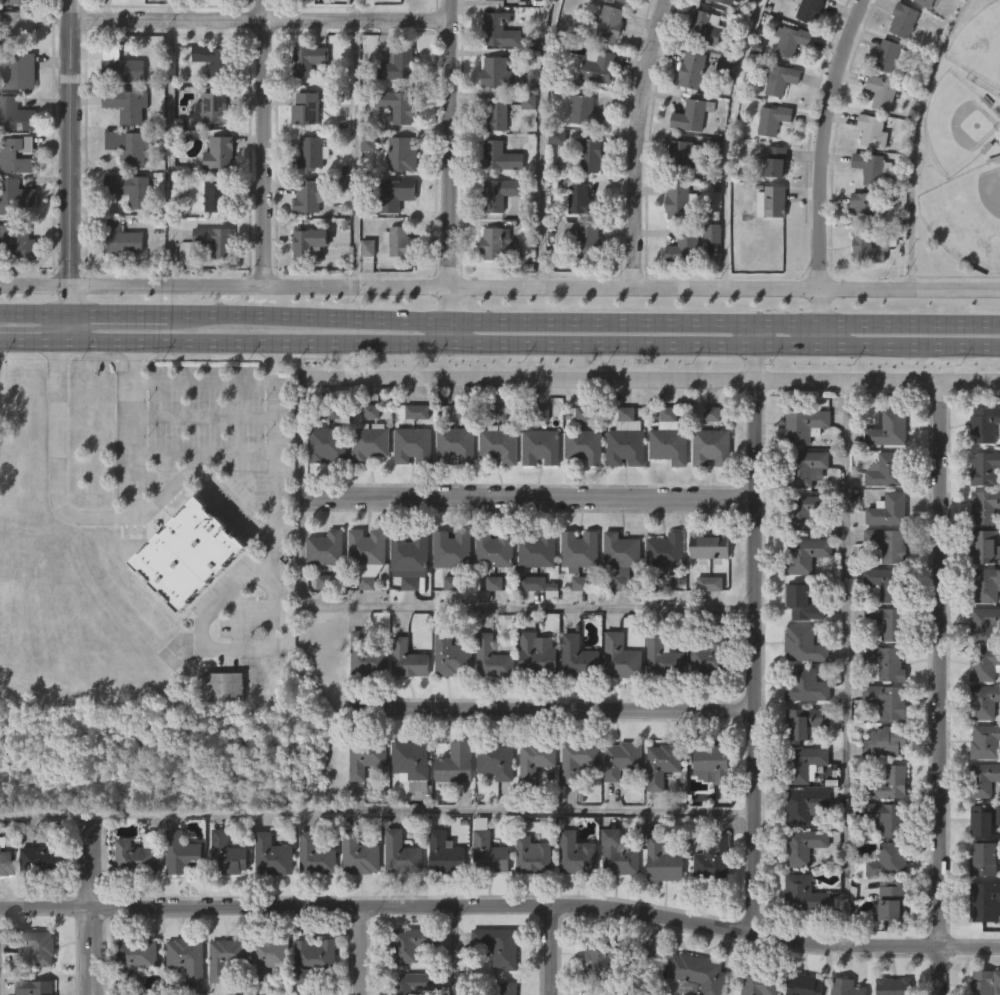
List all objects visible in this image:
building: (627, 0)
building: (11, 1)
building: (29, 1)
building: (727, 2)
building: (925, 3)
building: (809, 9)
building: (125, 14)
building: (205, 14)
building: (301, 18)
building: (392, 19)
building: (904, 19)
road: (260, 21)
building: (15, 22)
building: (609, 23)
building: (705, 27)
building: (921, 29)
building: (503, 31)
building: (794, 40)
park: (979, 46)
building: (806, 48)
building: (887, 54)
building: (213, 58)
building: (308, 58)
building: (899, 61)
building: (397, 63)
building: (120, 65)
building: (597, 67)
building: (692, 68)
building: (17, 71)
building: (500, 72)
building: (780, 77)
building: (882, 92)
building: (126, 104)
building: (397, 105)
building: (305, 107)
building: (213, 108)
building: (586, 111)
building: (14, 114)
building: (692, 114)
building: (494, 116)
building: (774, 119)
park: (956, 126)
building: (873, 131)
road: (914, 141)
road: (267, 142)
road: (170, 143)
road: (354, 143)
road: (635, 143)
building: (128, 144)
road: (540, 144)
road: (727, 144)
building: (218, 152)
building: (310, 152)
building: (15, 154)
building: (400, 154)
building: (590, 154)
building: (682, 155)
road: (71, 156)
building: (499, 156)
road: (452, 159)
building: (776, 160)
building: (872, 166)
road: (821, 169)
building: (552, 179)
building: (364, 185)
building: (132, 189)
building: (392, 193)
building: (498, 193)
building: (215, 195)
building: (309, 196)
building: (14, 197)
building: (580, 198)
building: (680, 200)
building: (771, 202)
building: (866, 206)
park: (968, 217)
building: (121, 238)
building: (214, 239)
building: (586, 240)
building: (16, 241)
building: (311, 241)
building: (399, 241)
building: (673, 243)
building: (767, 243)
building: (499, 244)
building: (684, 247)
building: (868, 248)
building: (708, 274)
building: (582, 277)
building: (118, 280)
building: (211, 281)
building: (305, 283)
building: (396, 283)
building: (16, 284)
building: (495, 284)
road: (500, 288)
building: (364, 289)
building: (679, 290)
building: (862, 290)
road: (34, 311)
road: (118, 312)
road: (309, 314)
road: (726, 320)
road: (63, 326)
road: (452, 332)
road: (28, 339)
road: (528, 344)
road: (206, 379)
road: (650, 380)
building: (417, 411)
road: (205, 416)
building: (985, 424)
building: (805, 425)
building: (889, 428)
road: (135, 429)
road: (300, 438)
building: (670, 439)
building: (626, 440)
building: (369, 442)
building: (326, 444)
building: (499, 444)
building: (413, 445)
building: (455, 445)
building: (584, 446)
building: (541, 447)
building: (712, 447)
road: (204, 454)
building: (804, 468)
building: (985, 468)
building: (887, 470)
road: (185, 473)
building: (665, 480)
building: (622, 481)
building: (366, 484)
building: (323, 485)
building: (452, 485)
building: (409, 486)
building: (495, 487)
building: (580, 487)
building: (707, 488)
building: (536, 489)
road: (530, 497)
building: (986, 507)
building: (806, 509)
building: (889, 510)
building: (889, 544)
building: (983, 545)
building: (710, 546)
building: (325, 548)
building: (495, 548)
building: (579, 549)
building: (452, 550)
building: (666, 550)
building: (189, 553)
building: (367, 555)
building: (805, 555)
building: (410, 558)
building: (621, 558)
building: (538, 561)
building: (709, 583)
building: (887, 584)
building: (984, 585)
building: (322, 589)
building: (448, 590)
building: (363, 591)
building: (489, 591)
building: (575, 591)
building: (661, 591)
building: (533, 592)
building: (184, 595)
building: (617, 598)
building: (406, 600)
road: (477, 603)
building: (803, 603)
road: (237, 617)
building: (321, 623)
building: (363, 623)
building: (448, 623)
building: (888, 623)
building: (490, 624)
building: (575, 624)
building: (705, 624)
building: (984, 624)
building: (535, 627)
road: (758, 628)
building: (804, 645)
road: (228, 649)
building: (663, 654)
building: (366, 655)
building: (451, 657)
building: (536, 657)
building: (579, 658)
building: (621, 658)
building: (493, 659)
building: (711, 659)
building: (407, 660)
building: (886, 663)
building: (984, 663)
road: (847, 664)
building: (805, 685)
building: (223, 687)
road: (943, 689)
building: (533, 694)
building: (704, 696)
building: (362, 697)
building: (574, 697)
building: (447, 698)
building: (616, 698)
building: (488, 699)
building: (658, 699)
building: (404, 700)
building: (887, 701)
building: (985, 702)
road: (555, 709)
building: (805, 723)
building: (220, 727)
building: (986, 742)
building: (885, 743)
building: (366, 758)
building: (495, 760)
building: (621, 760)
building: (535, 761)
building: (715, 761)
building: (806, 763)
building: (455, 764)
building: (576, 764)
building: (412, 765)
building: (662, 765)
building: (889, 782)
building: (985, 782)
building: (530, 801)
building: (617, 801)
building: (362, 802)
building: (492, 802)
building: (574, 802)
building: (408, 804)
building: (451, 804)
building: (707, 804)
building: (657, 805)
building: (806, 806)
road: (378, 809)
building: (888, 816)
building: (984, 820)
building: (804, 846)
building: (490, 850)
building: (181, 853)
building: (401, 853)
building: (445, 853)
building: (533, 853)
building: (226, 854)
building: (271, 854)
building: (359, 854)
building: (138, 855)
building: (315, 855)
building: (578, 855)
building: (619, 855)
building: (41, 858)
building: (713, 859)
building: (985, 859)
building: (663, 861)
building: (885, 861)
building: (7, 862)
building: (484, 891)
building: (177, 893)
building: (440, 893)
building: (397, 894)
building: (572, 894)
building: (614, 894)
building: (805, 894)
building: (223, 896)
building: (268, 896)
building: (311, 896)
building: (356, 896)
building: (528, 896)
building: (130, 897)
building: (709, 898)
building: (37, 900)
building: (891, 900)
building: (658, 902)
building: (985, 902)
building: (4, 903)
road: (94, 904)
road: (501, 906)
building: (799, 935)
building: (886, 941)
building: (981, 942)
building: (410, 943)
building: (498, 944)
building: (34, 946)
road: (360, 950)
road: (456, 950)
road: (553, 950)
building: (133, 956)
building: (186, 956)
building: (268, 956)
building: (225, 957)
building: (313, 957)
building: (604, 958)
building: (698, 974)
building: (412, 982)
building: (760, 982)
building: (986, 982)
building: (804, 985)
building: (893, 986)
building: (34, 987)
building: (181, 987)
building: (224, 987)
building: (846, 987)
building: (133, 988)
building: (266, 988)
building: (311, 988)
building: (504, 988)
building: (592, 990)
building: (670, 994)

